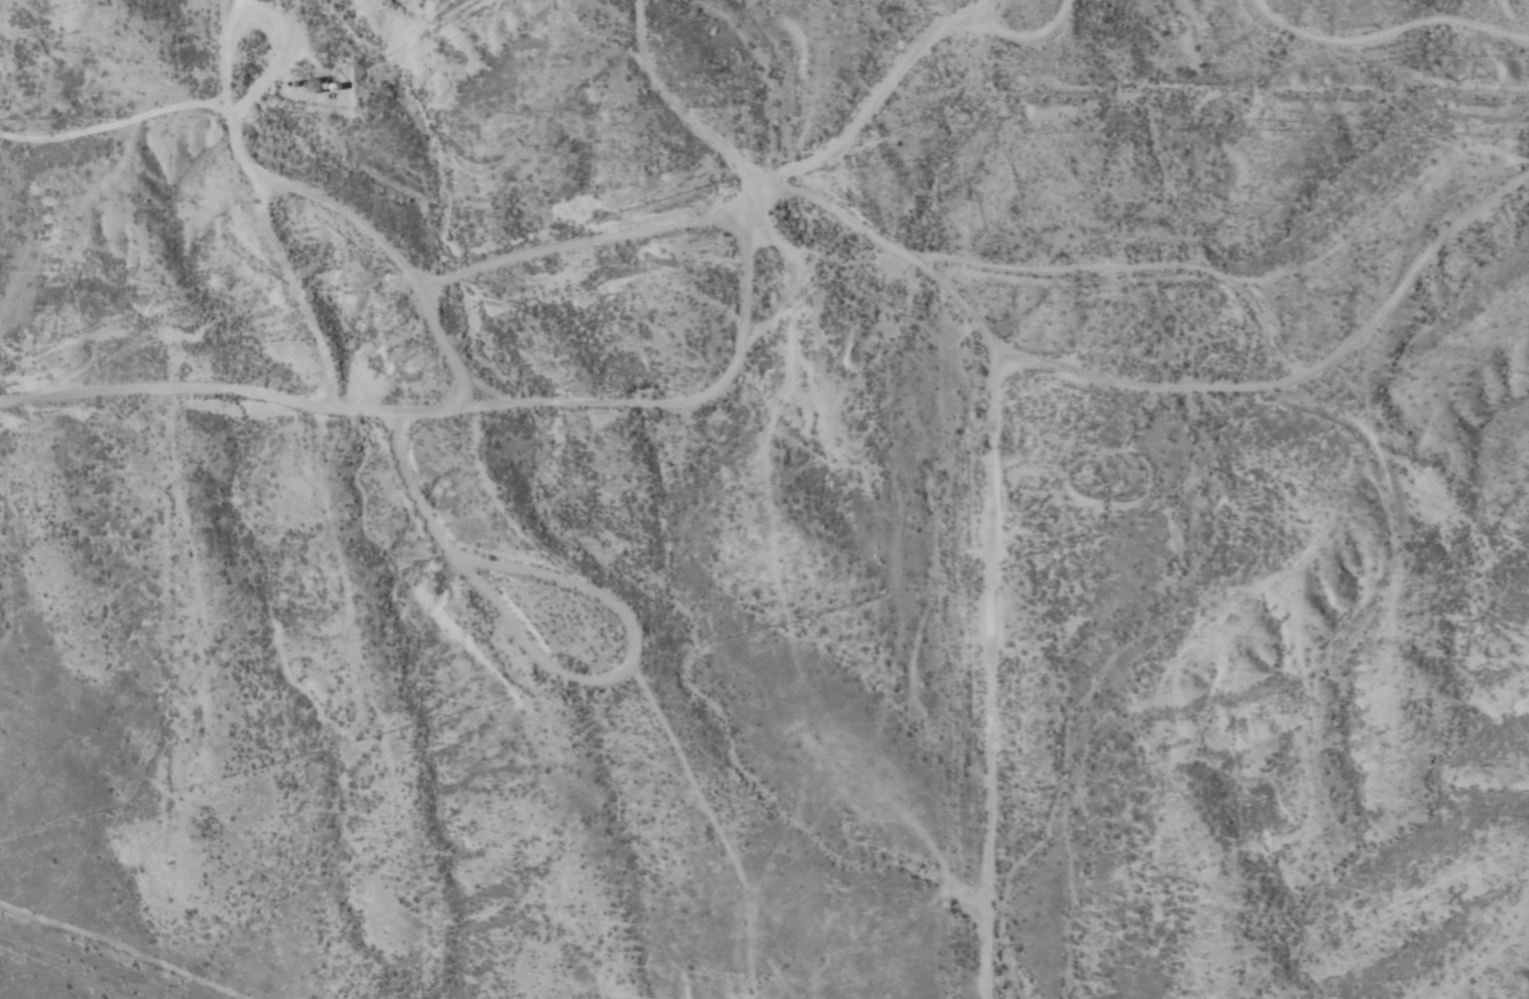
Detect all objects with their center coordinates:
road: (604, 406)

